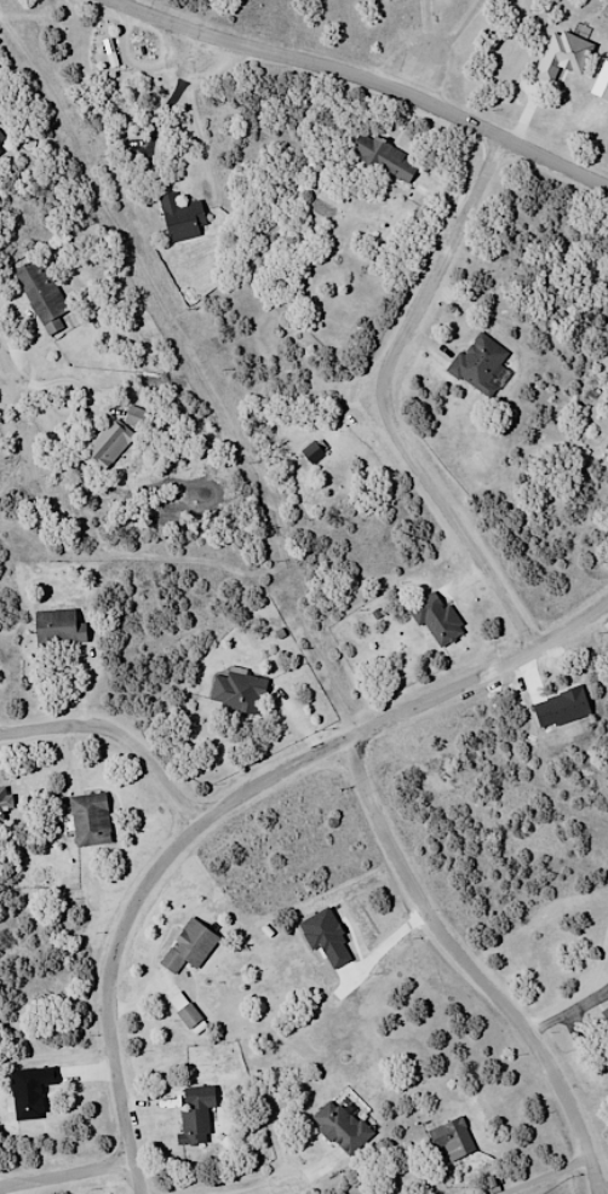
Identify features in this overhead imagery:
road: (436, 30)
road: (475, 35)
road: (357, 84)
road: (432, 84)
building: (0, 138)
building: (0, 150)
building: (382, 159)
building: (180, 218)
building: (42, 295)
road: (11, 355)
building: (478, 363)
road: (385, 400)
building: (108, 443)
building: (606, 447)
building: (311, 452)
building: (436, 618)
building: (57, 627)
building: (236, 691)
road: (405, 707)
road: (121, 730)
building: (88, 819)
building: (188, 947)
road: (470, 964)
road: (115, 994)
building: (604, 1012)
building: (187, 1015)
building: (29, 1091)
building: (195, 1115)
building: (339, 1126)
building: (451, 1140)
road: (69, 1172)
road: (286, 1192)

